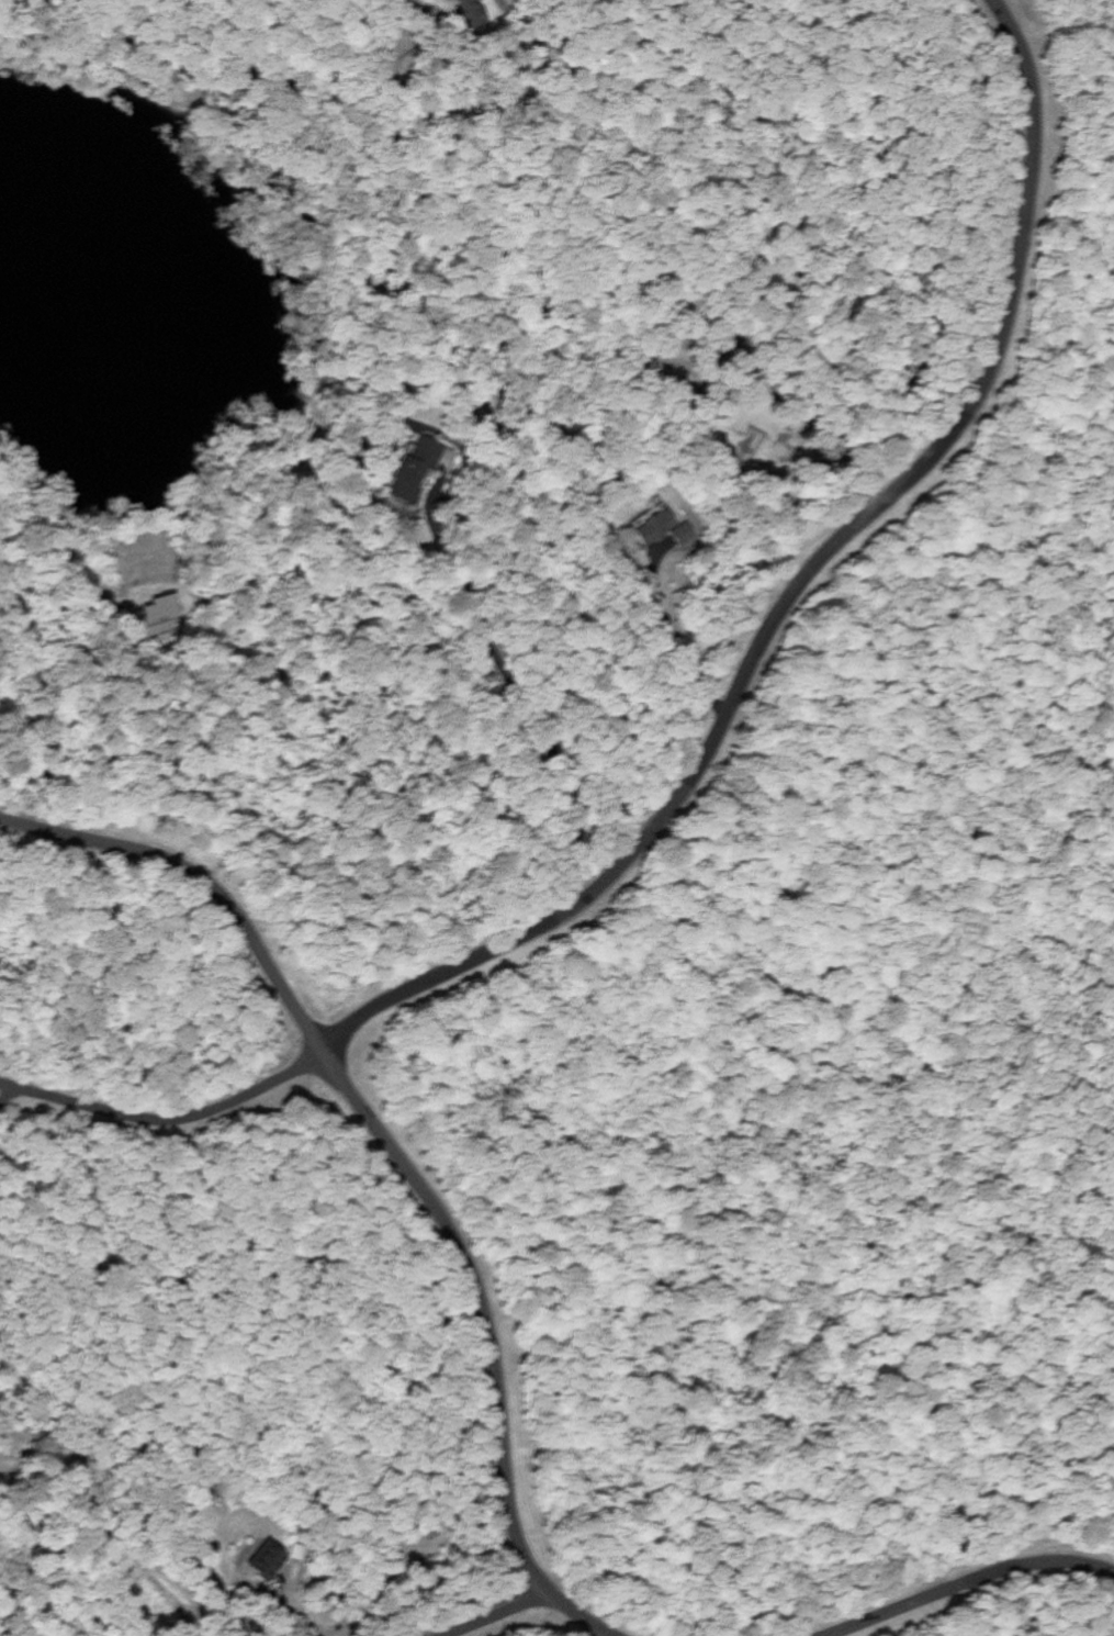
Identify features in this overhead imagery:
building: (464, 4)
building: (654, 528)
road: (791, 593)
building: (159, 609)
road: (165, 1122)
road: (392, 1158)
building: (267, 1559)
road: (968, 1583)
road: (495, 1615)

